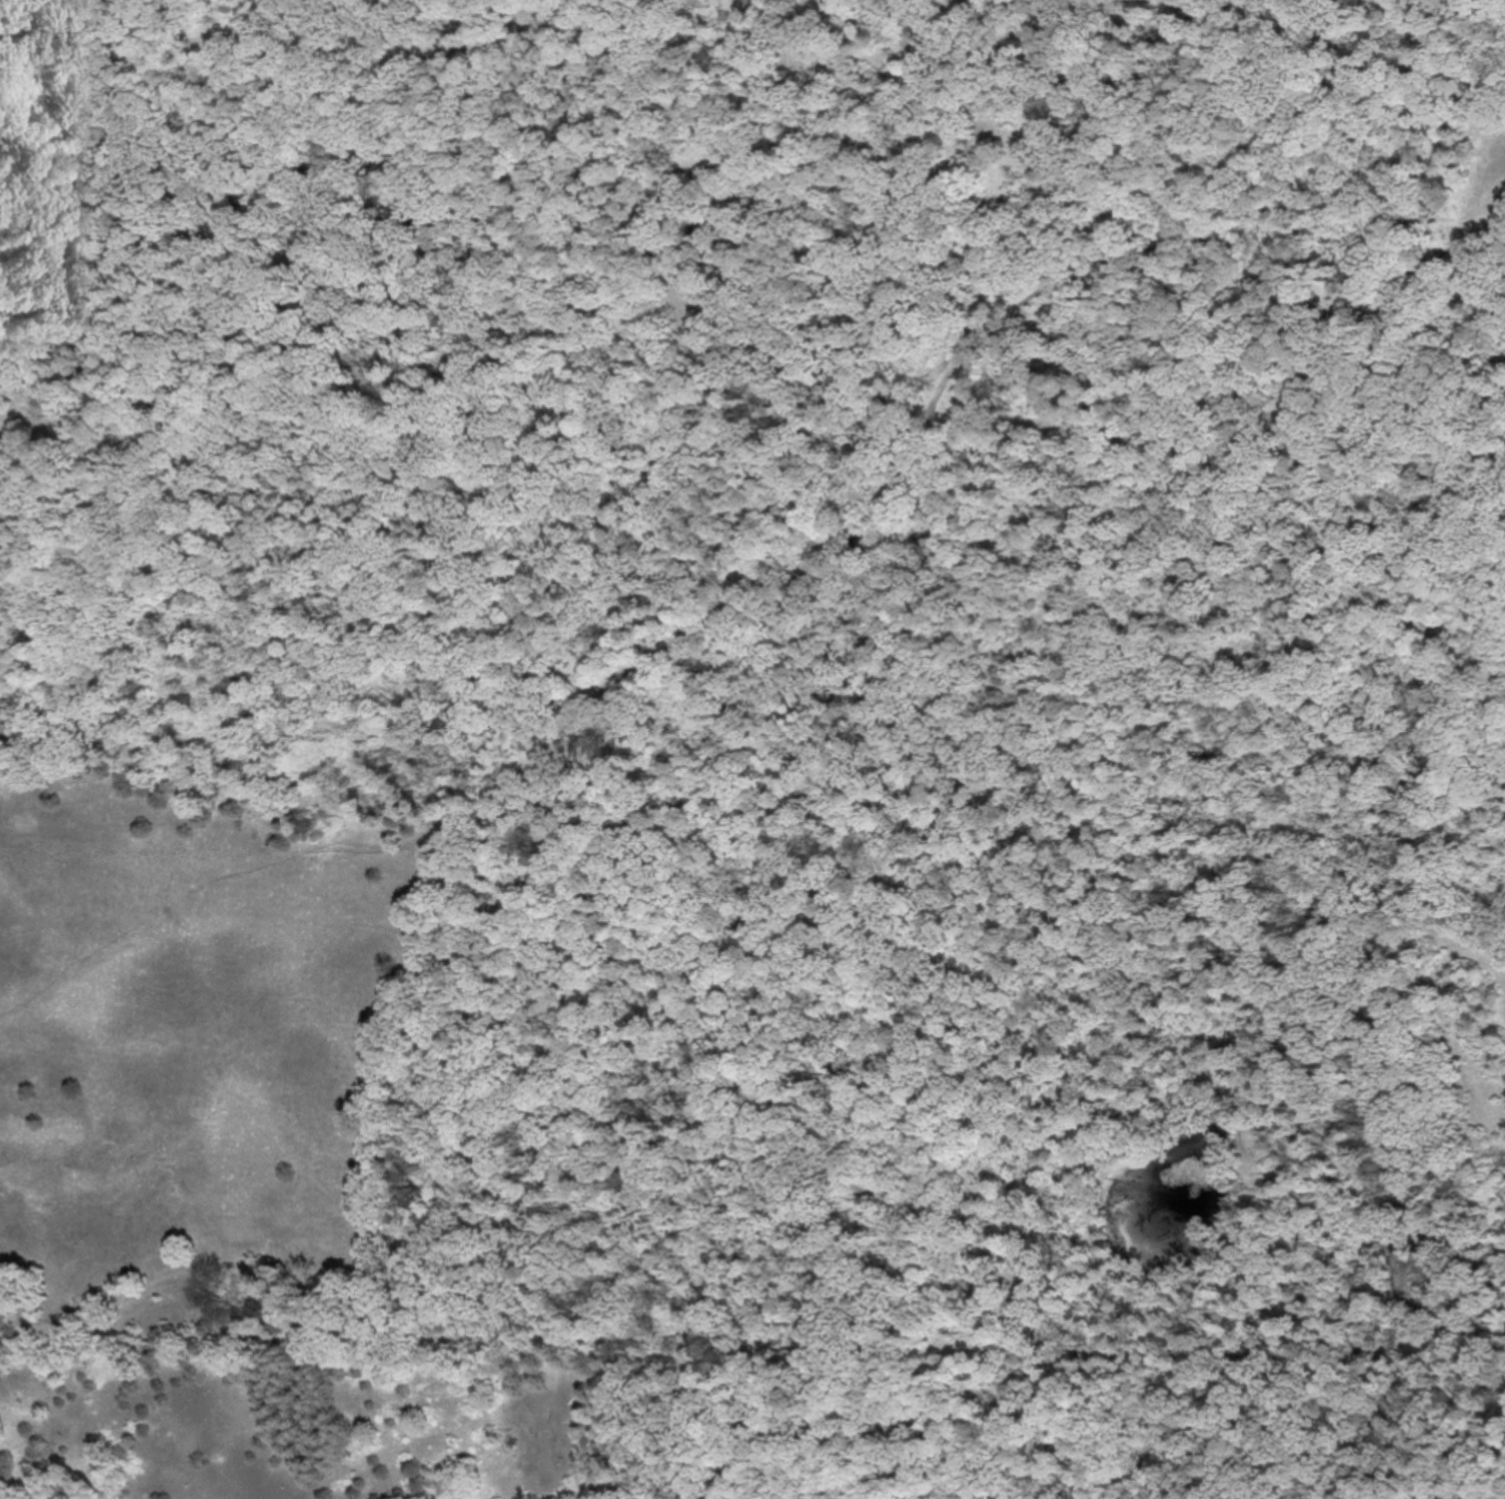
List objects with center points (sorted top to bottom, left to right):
building: (1446, 1497)

